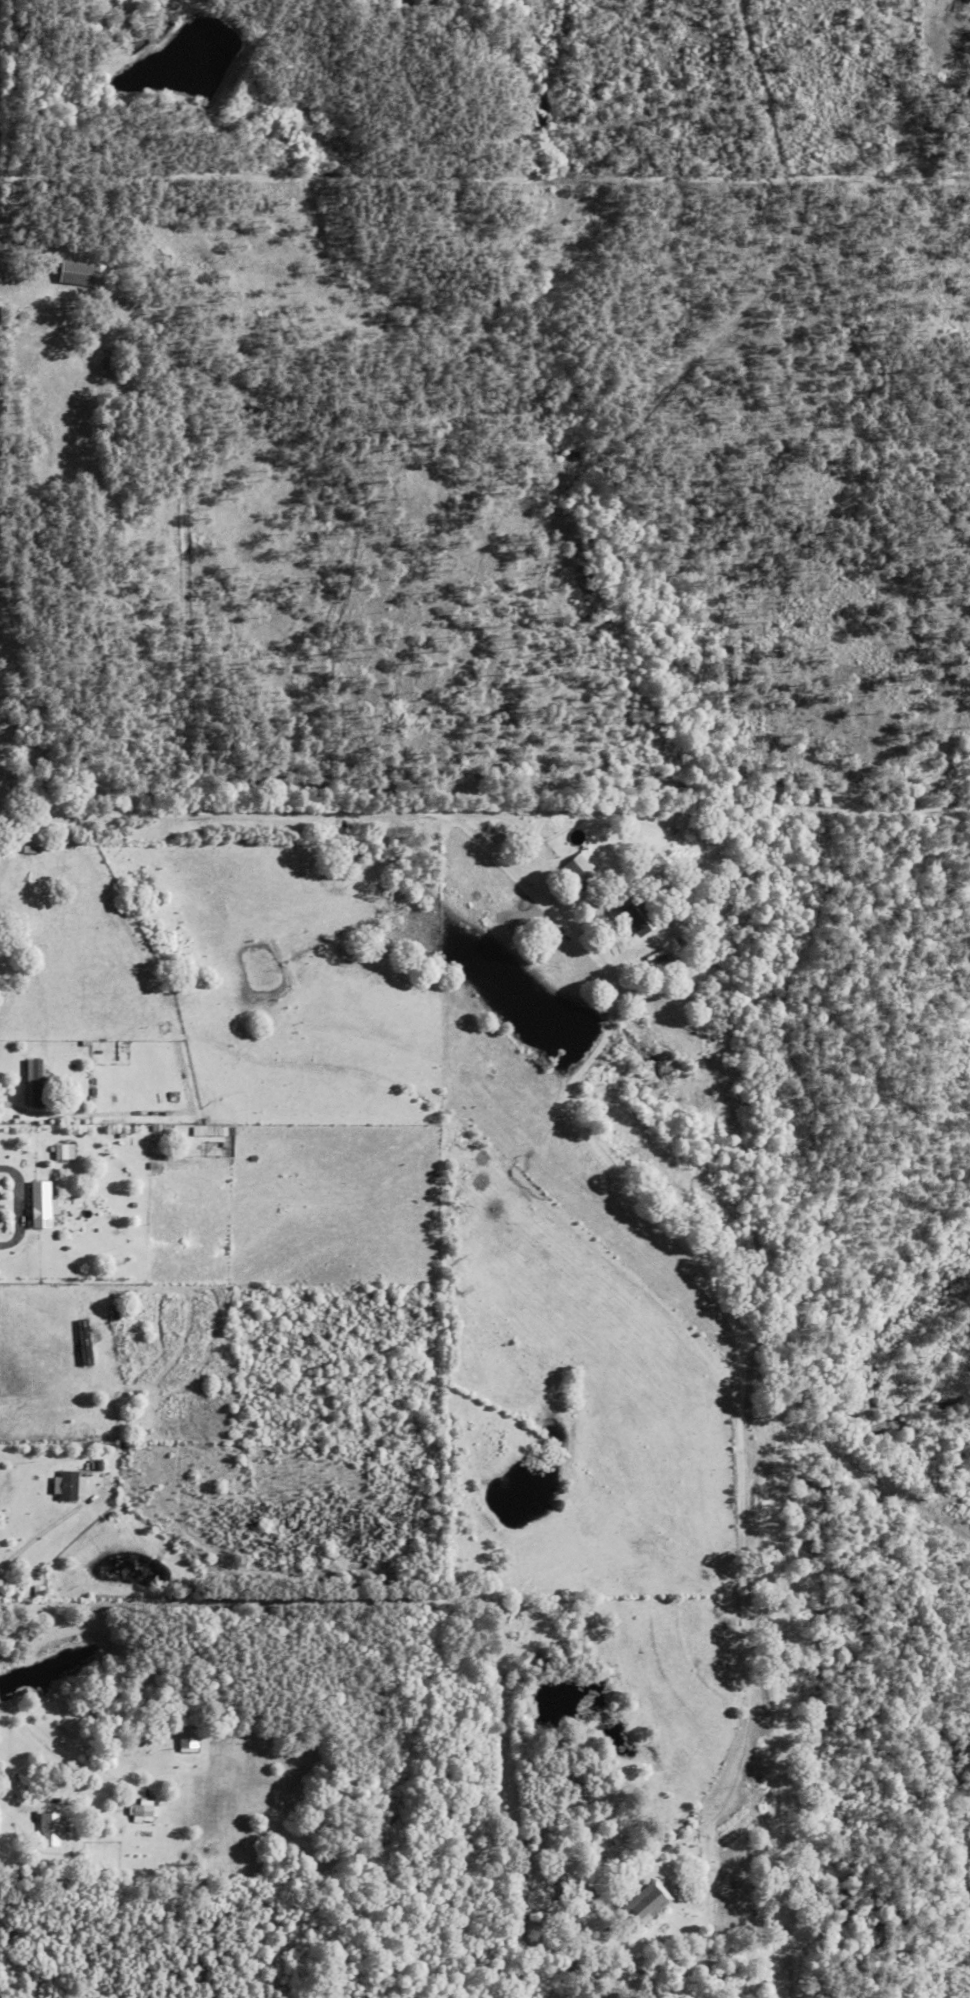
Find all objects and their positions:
building: (82, 272)
building: (580, 870)
building: (35, 1080)
building: (212, 1129)
building: (65, 1150)
building: (43, 1202)
building: (71, 1484)
building: (189, 1738)
building: (143, 1809)
building: (53, 1827)
building: (649, 1901)

